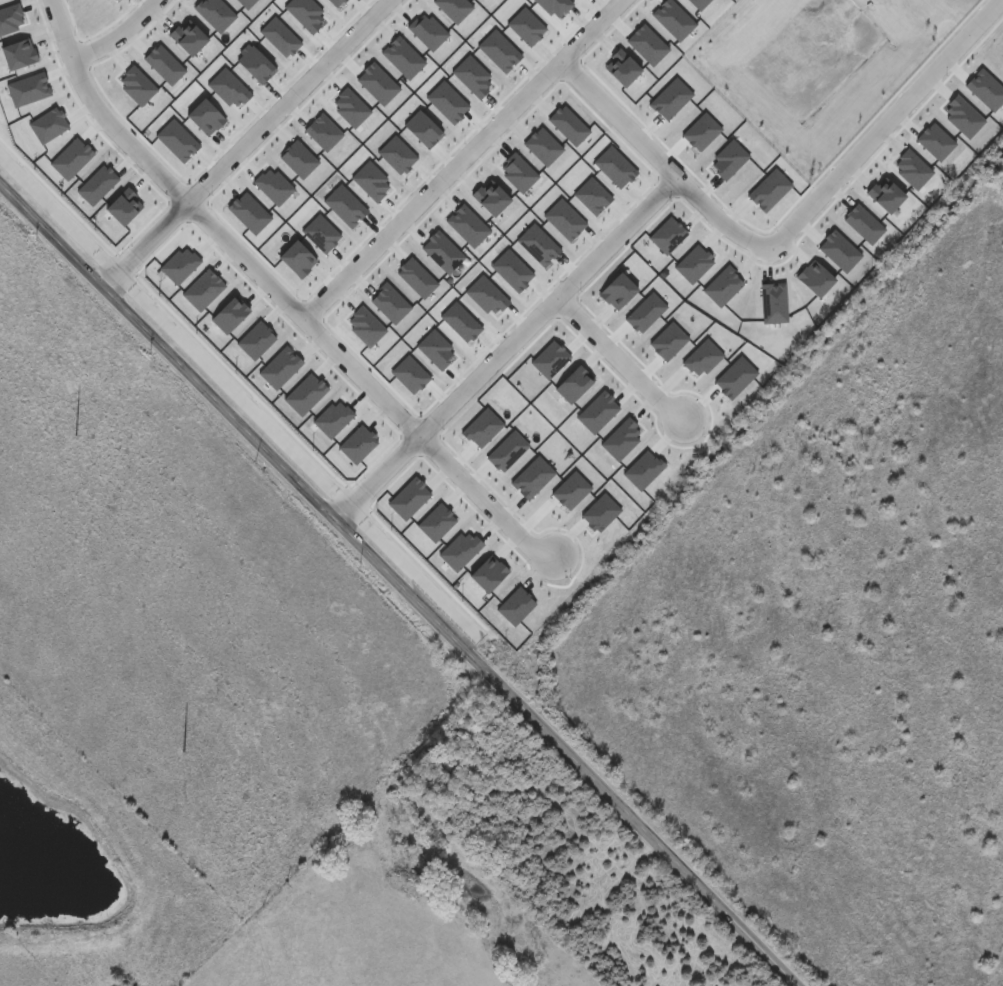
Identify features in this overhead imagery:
road: (590, 30)
road: (117, 35)
building: (884, 73)
road: (526, 94)
road: (284, 101)
road: (102, 111)
building: (961, 117)
building: (933, 142)
building: (911, 169)
building: (767, 190)
building: (882, 195)
building: (862, 224)
road: (143, 244)
building: (837, 251)
road: (242, 257)
building: (812, 278)
road: (547, 304)
building: (742, 332)
road: (621, 357)
road: (374, 477)
road: (395, 587)

